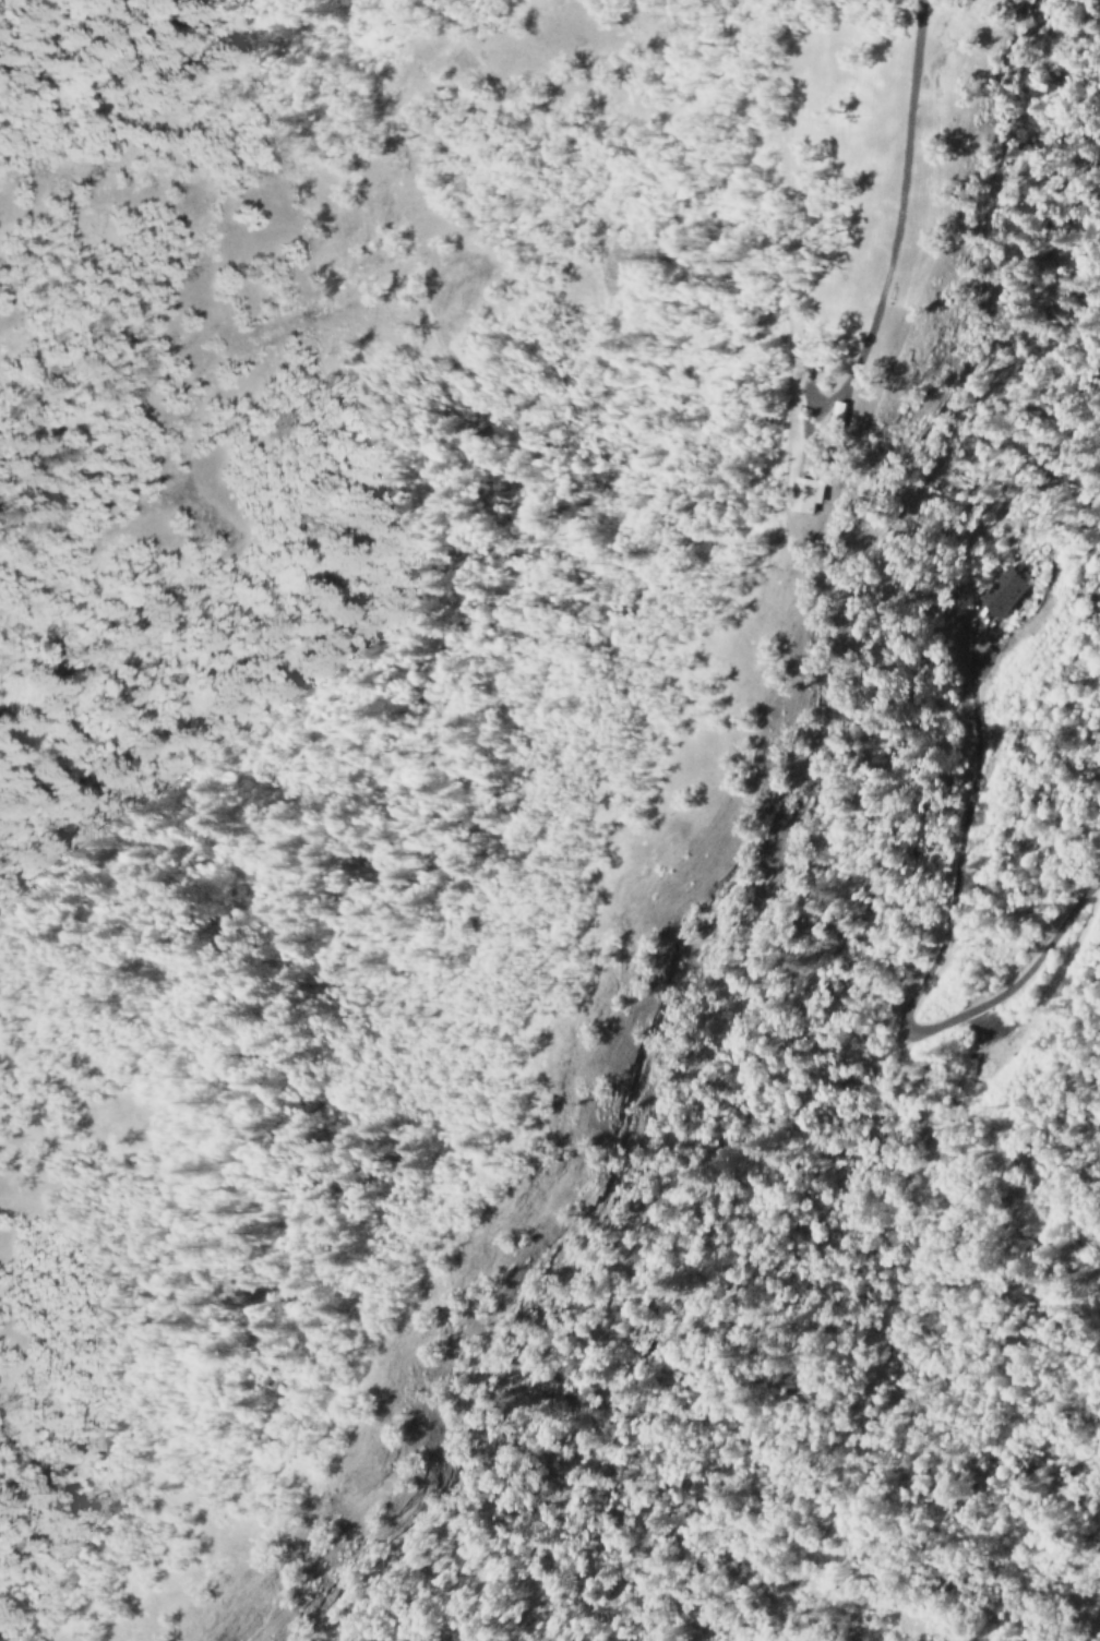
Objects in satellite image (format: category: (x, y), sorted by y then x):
road: (894, 225)
building: (825, 411)
building: (787, 493)
building: (1000, 591)
road: (935, 966)

